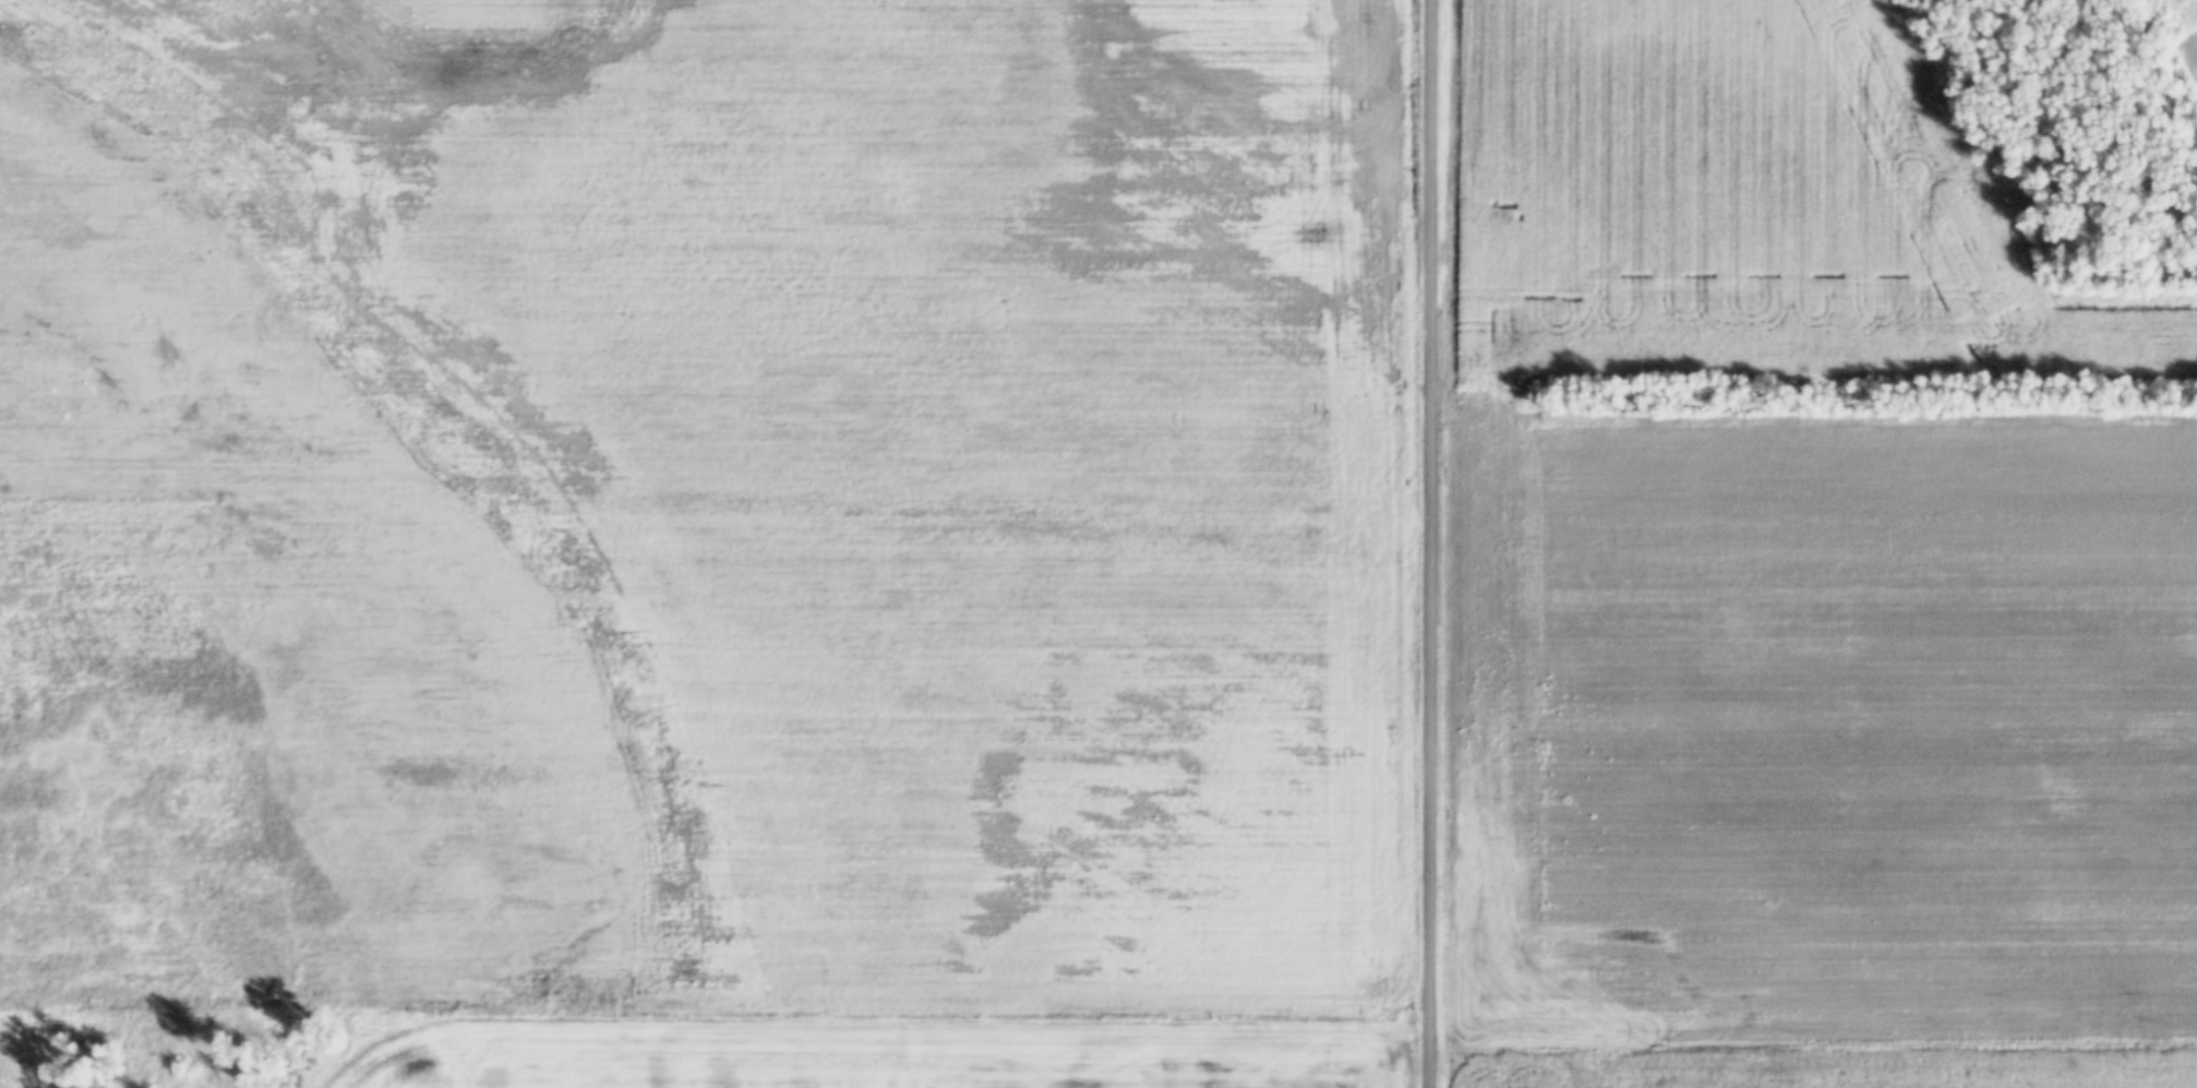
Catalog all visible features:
road: (1433, 543)

